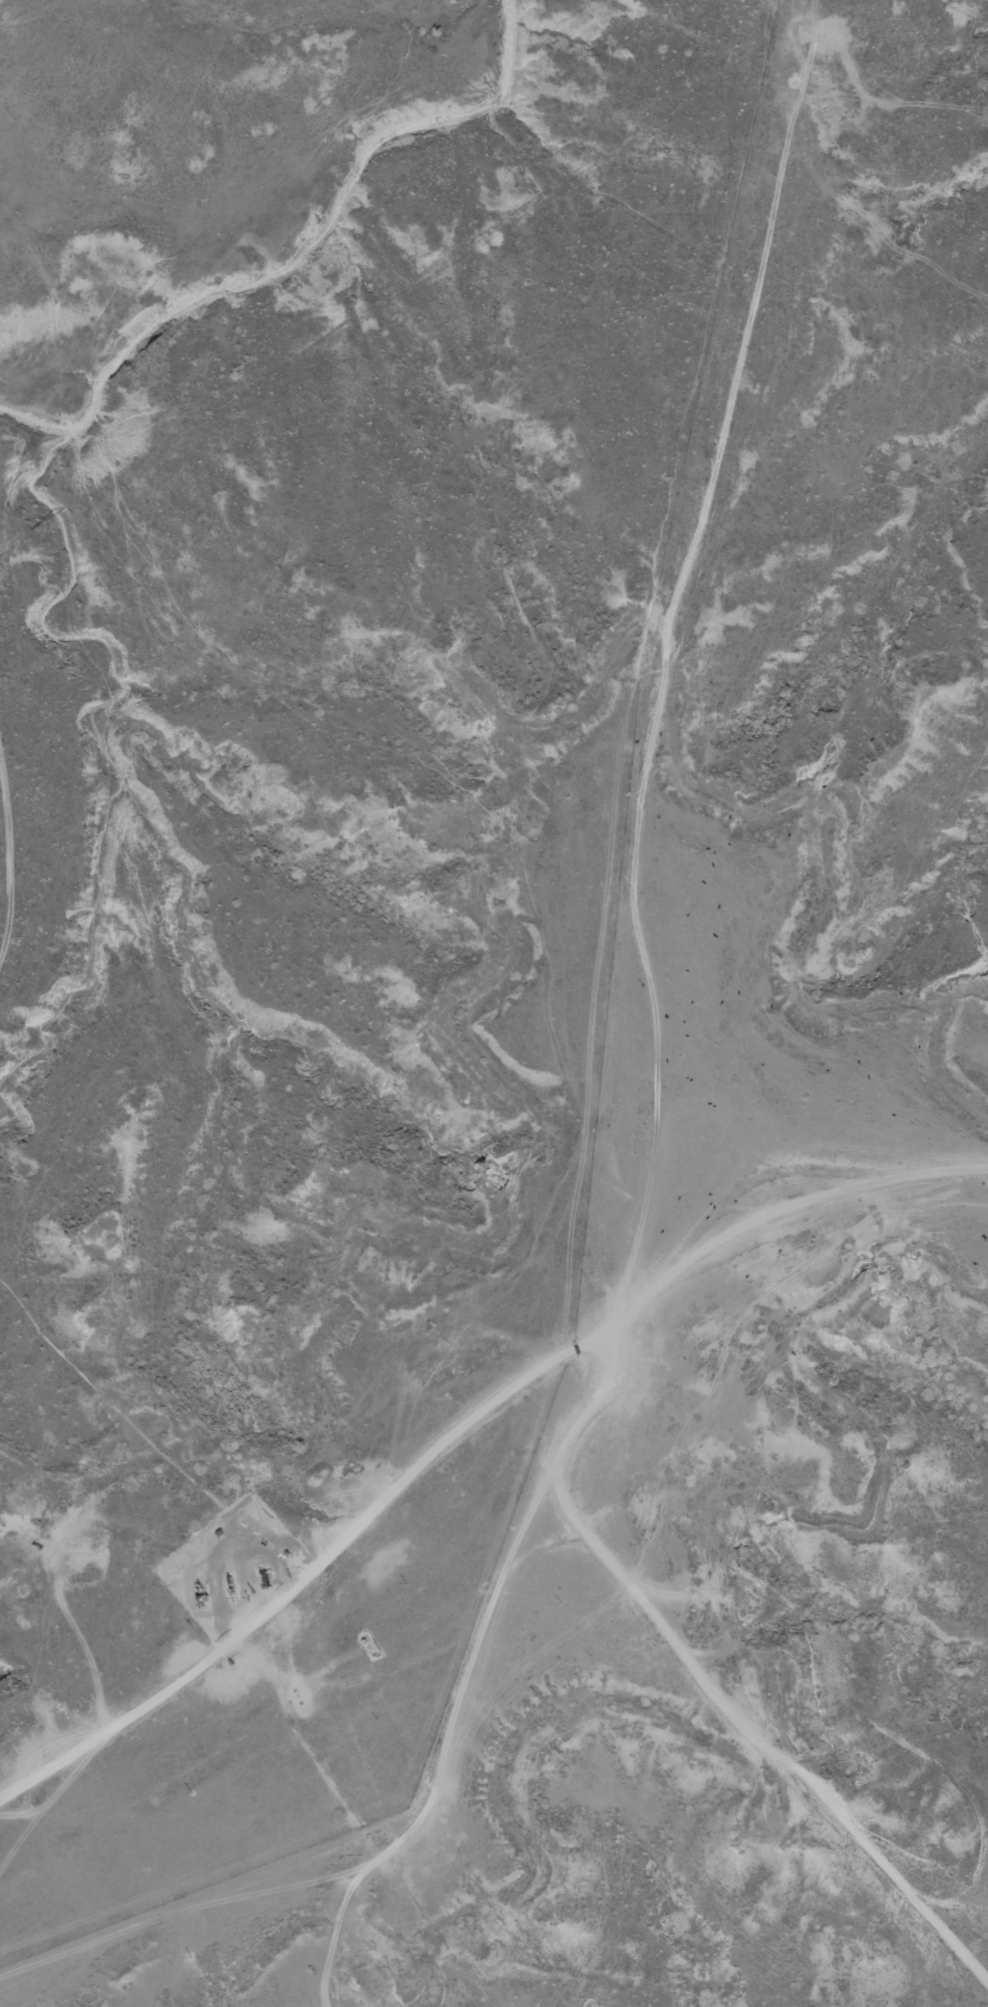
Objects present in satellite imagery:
road: (634, 1003)
road: (802, 1134)
road: (413, 1501)

